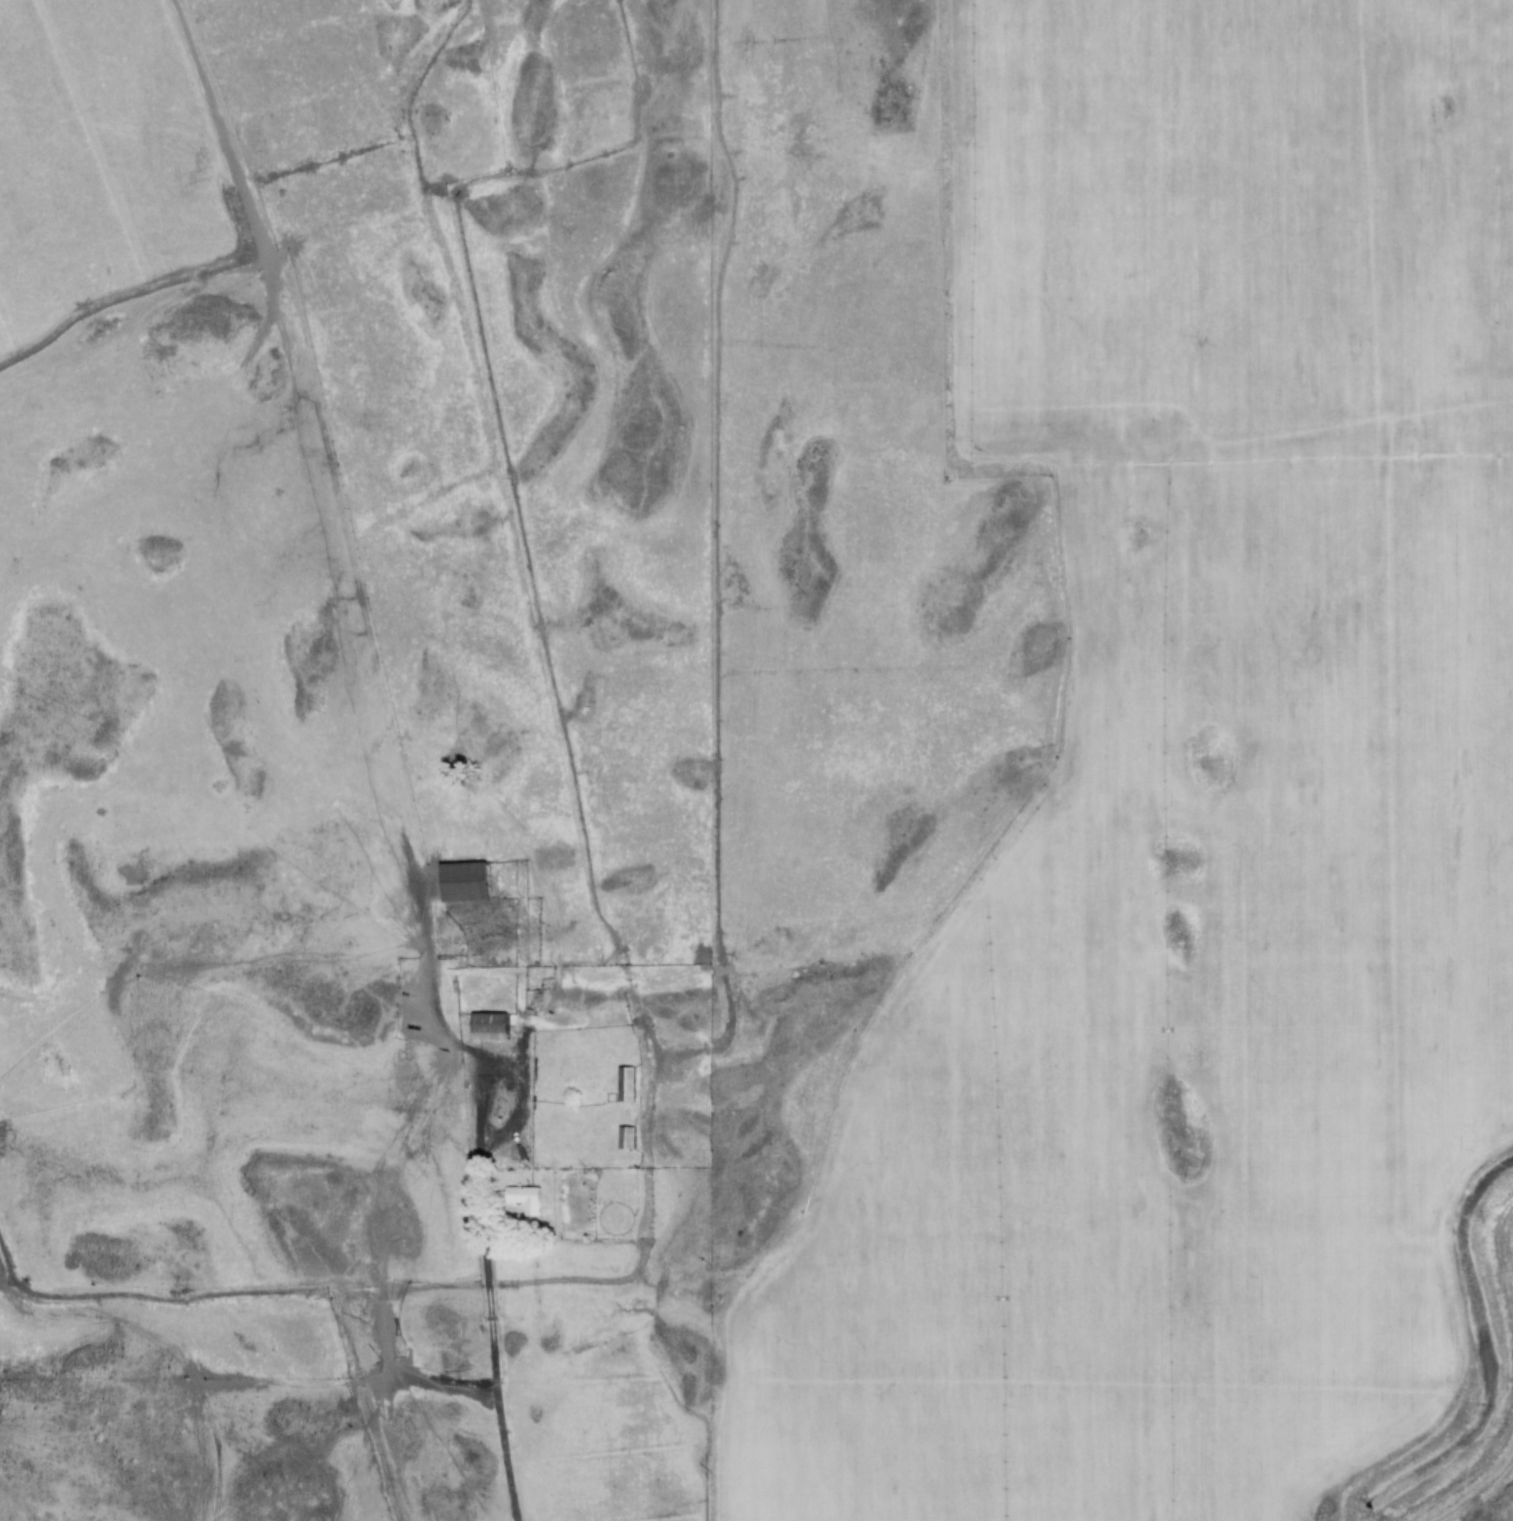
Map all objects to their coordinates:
building: (461, 881)
building: (488, 1026)
building: (624, 1084)
building: (624, 1137)
building: (524, 1199)
road: (501, 1406)

